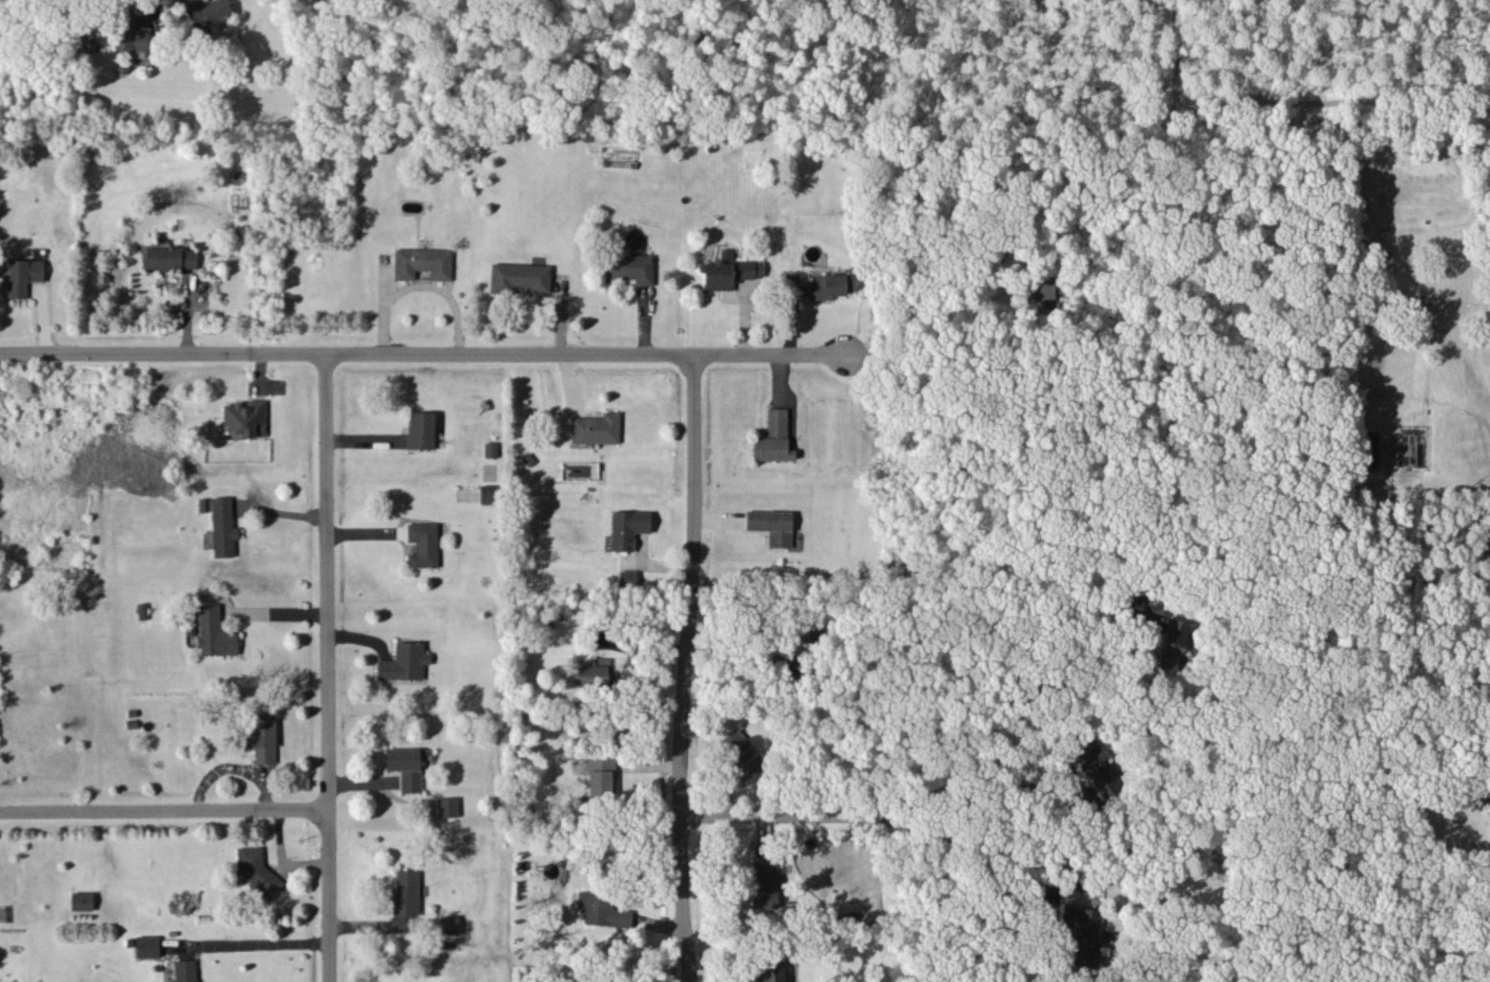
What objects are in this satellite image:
building: (207, 14)
building: (130, 34)
building: (170, 258)
building: (422, 263)
building: (630, 268)
building: (728, 271)
building: (23, 275)
building: (520, 277)
building: (832, 284)
building: (1039, 294)
road: (421, 355)
building: (244, 418)
building: (595, 428)
building: (421, 430)
building: (773, 438)
building: (490, 449)
building: (1369, 449)
building: (488, 493)
building: (223, 526)
building: (772, 526)
building: (627, 528)
building: (423, 544)
building: (627, 578)
road: (270, 613)
building: (214, 632)
building: (812, 634)
building: (1172, 644)
building: (404, 661)
road: (326, 668)
road: (683, 668)
building: (590, 675)
building: (261, 736)
building: (743, 751)
road: (1052, 758)
building: (1095, 764)
building: (405, 767)
building: (601, 774)
road: (937, 778)
building: (446, 806)
road: (163, 810)
road: (942, 833)
building: (256, 870)
building: (765, 882)
building: (405, 893)
building: (81, 901)
building: (602, 909)
building: (449, 925)
building: (1082, 933)
road: (250, 944)
building: (147, 946)
building: (185, 970)
building: (772, 972)

